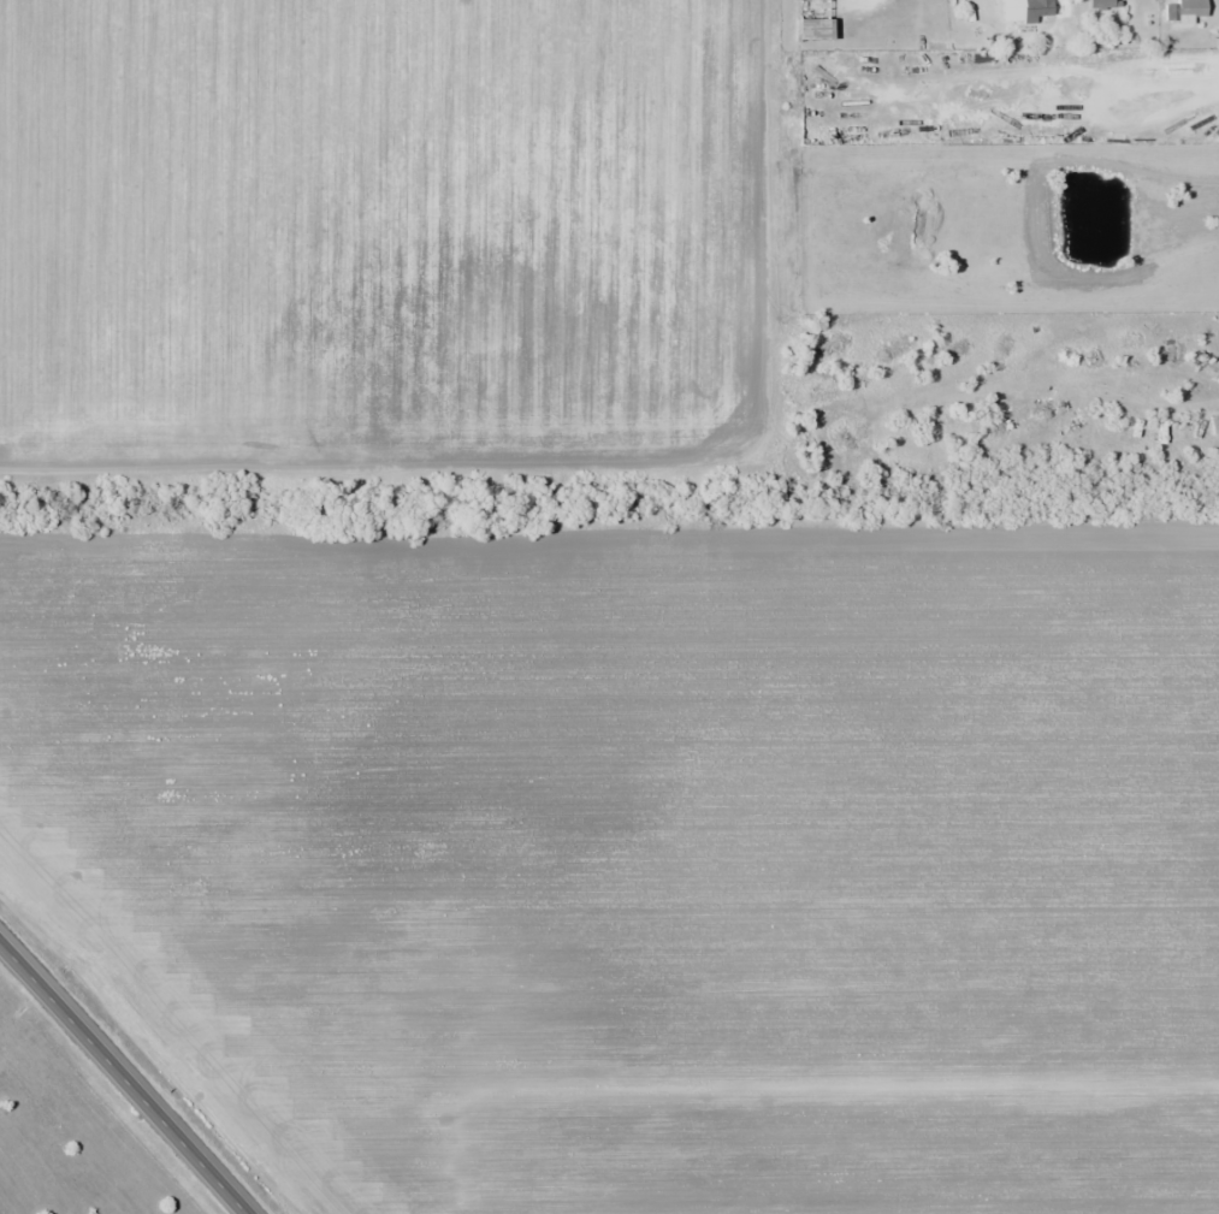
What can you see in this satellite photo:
building: (1025, 8)
building: (1183, 10)
road: (123, 1079)

